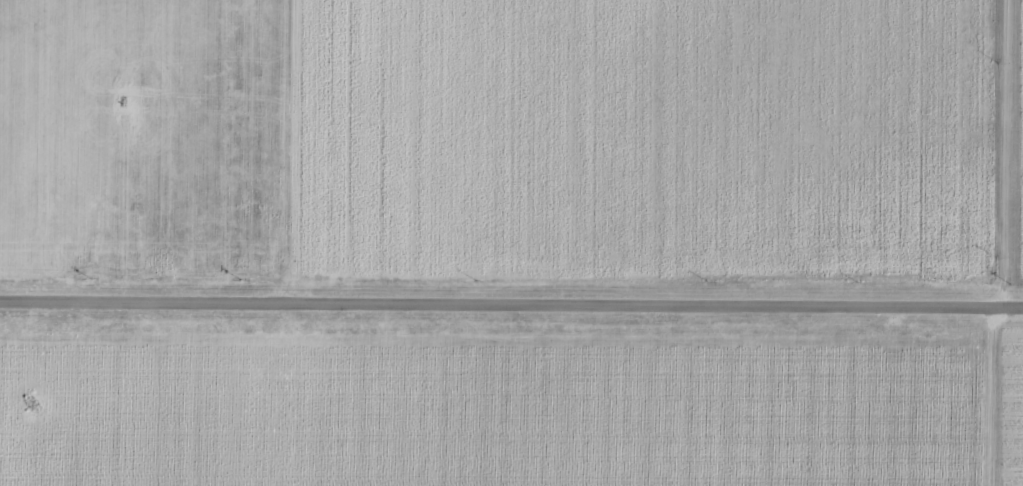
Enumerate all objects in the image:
road: (1013, 243)
road: (511, 303)

